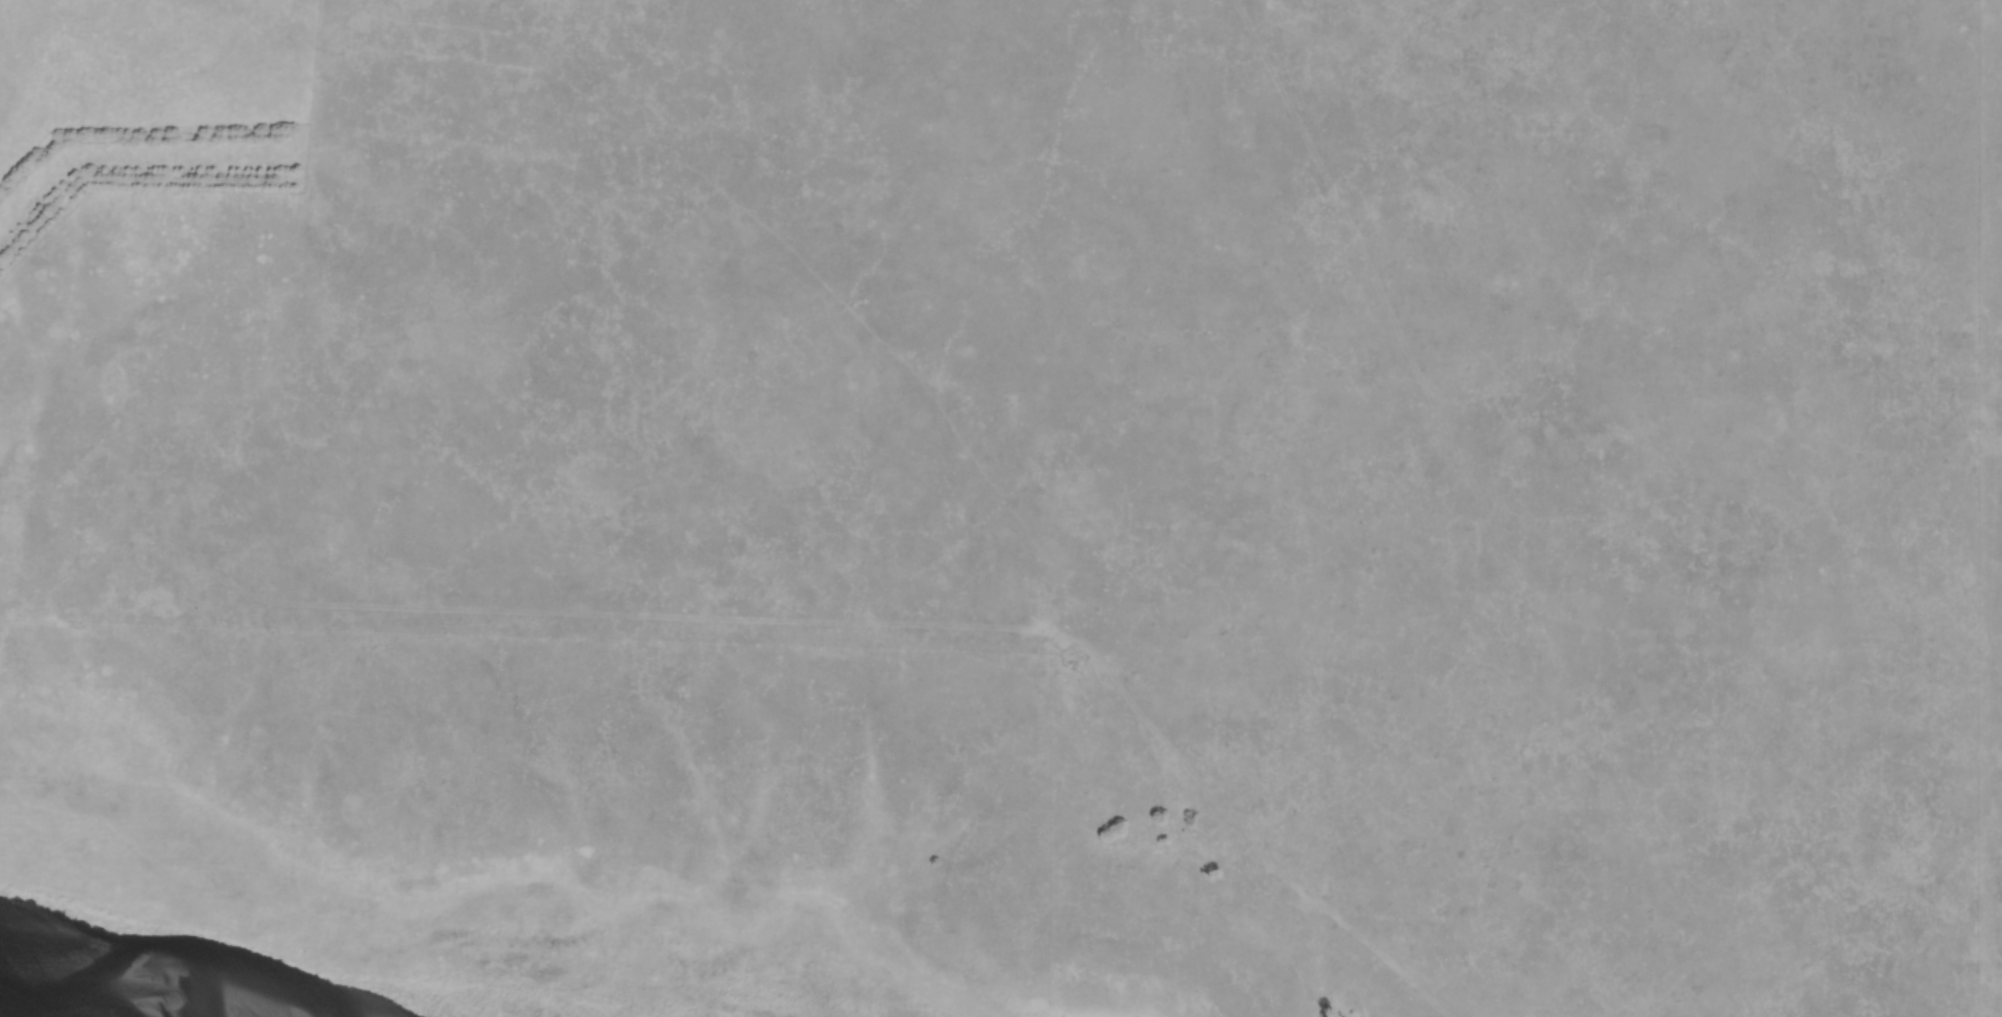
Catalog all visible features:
river: (11, 1013)

